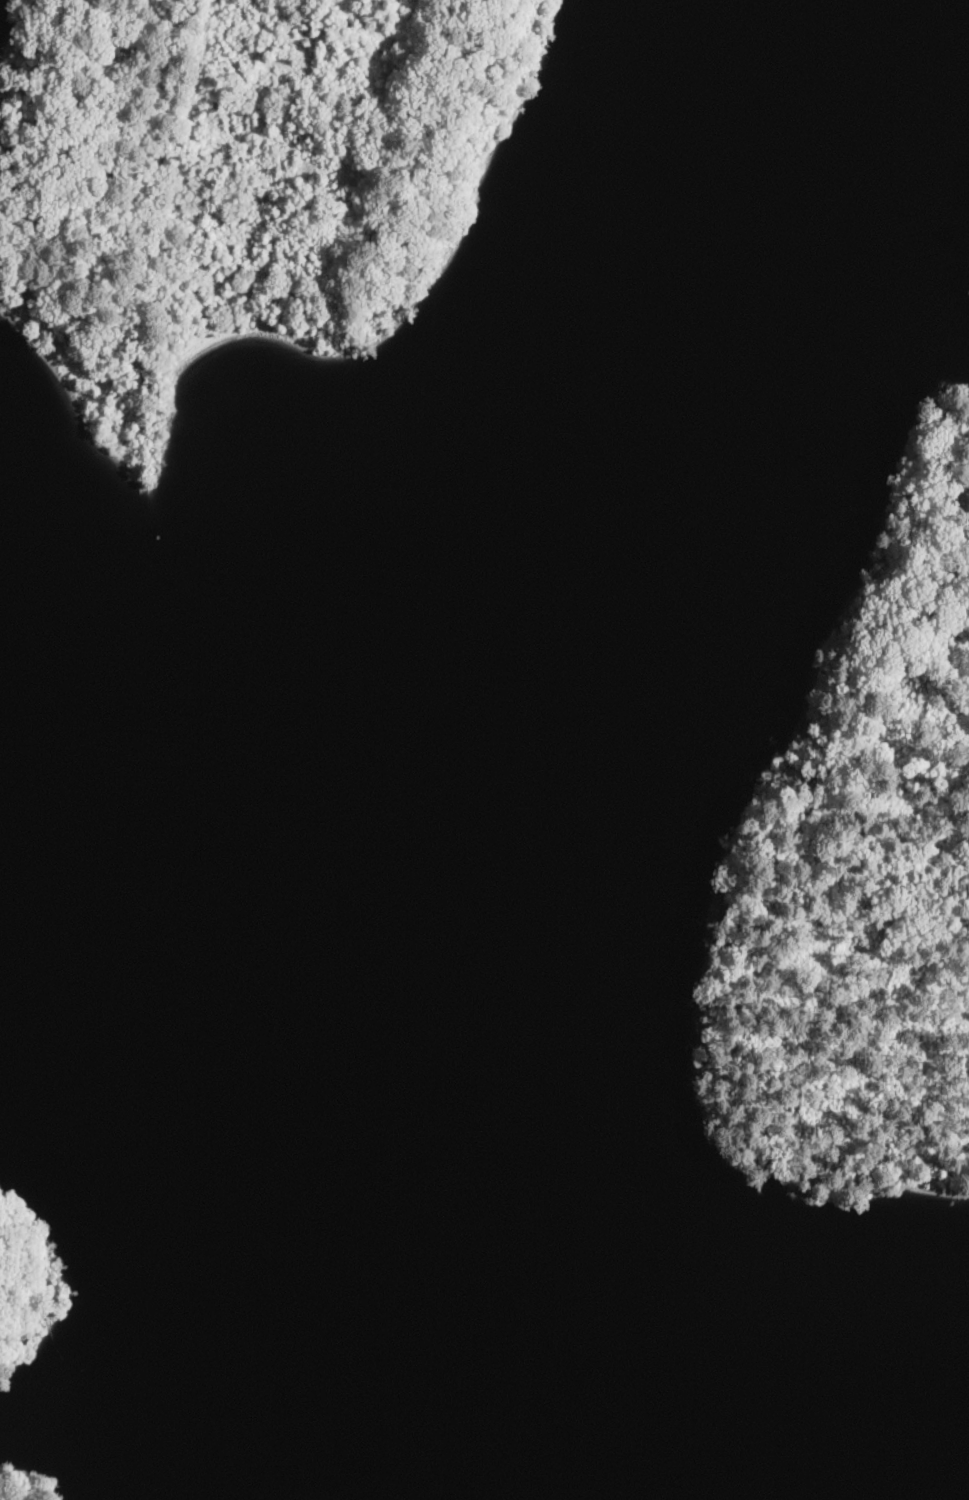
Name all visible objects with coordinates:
river: (431, 581)
park: (29, 1284)
river: (509, 1327)
river: (792, 1417)
park: (27, 1483)

